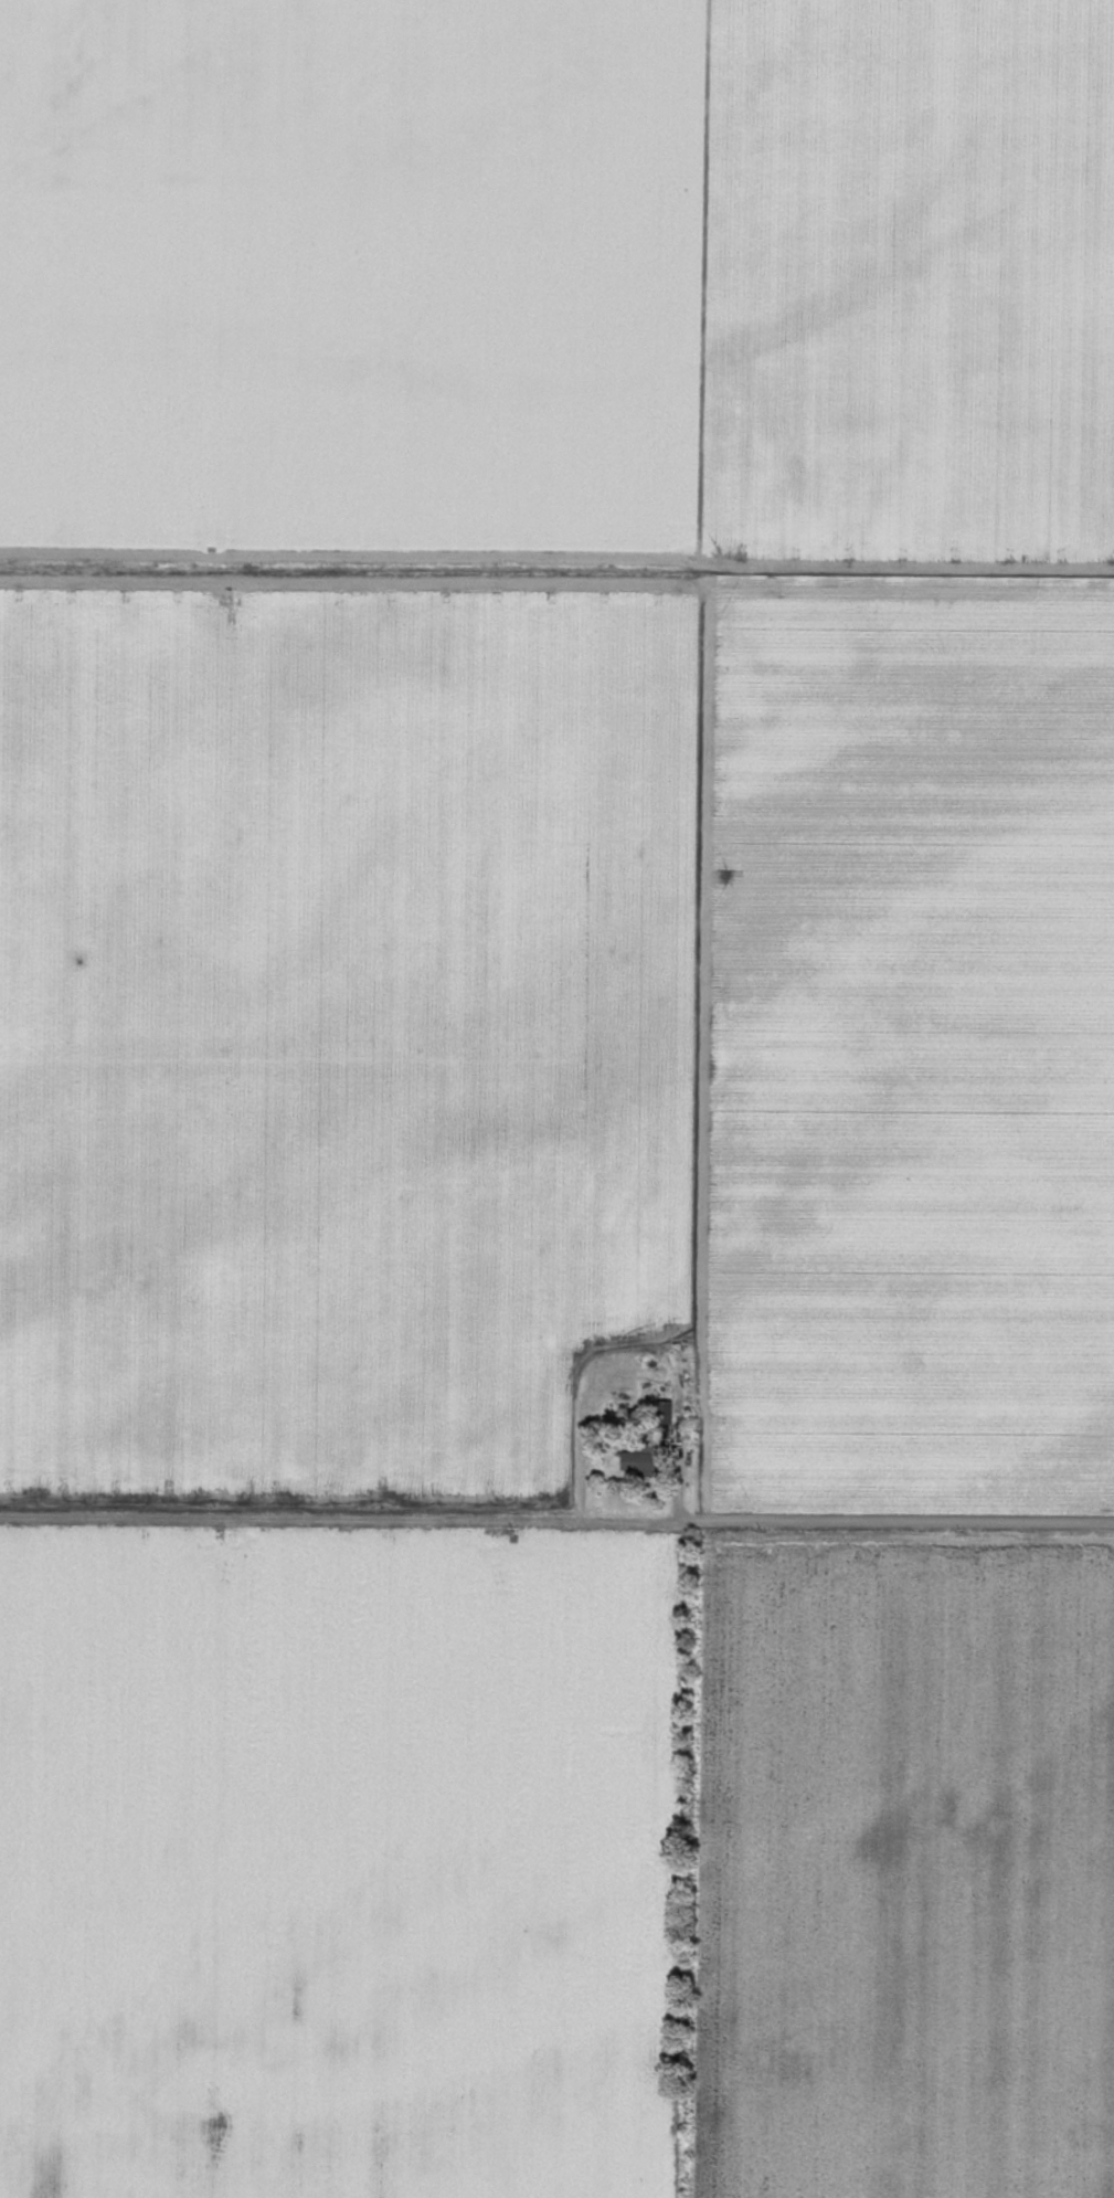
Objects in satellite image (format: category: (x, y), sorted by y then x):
building: (636, 1462)
road: (556, 1524)

